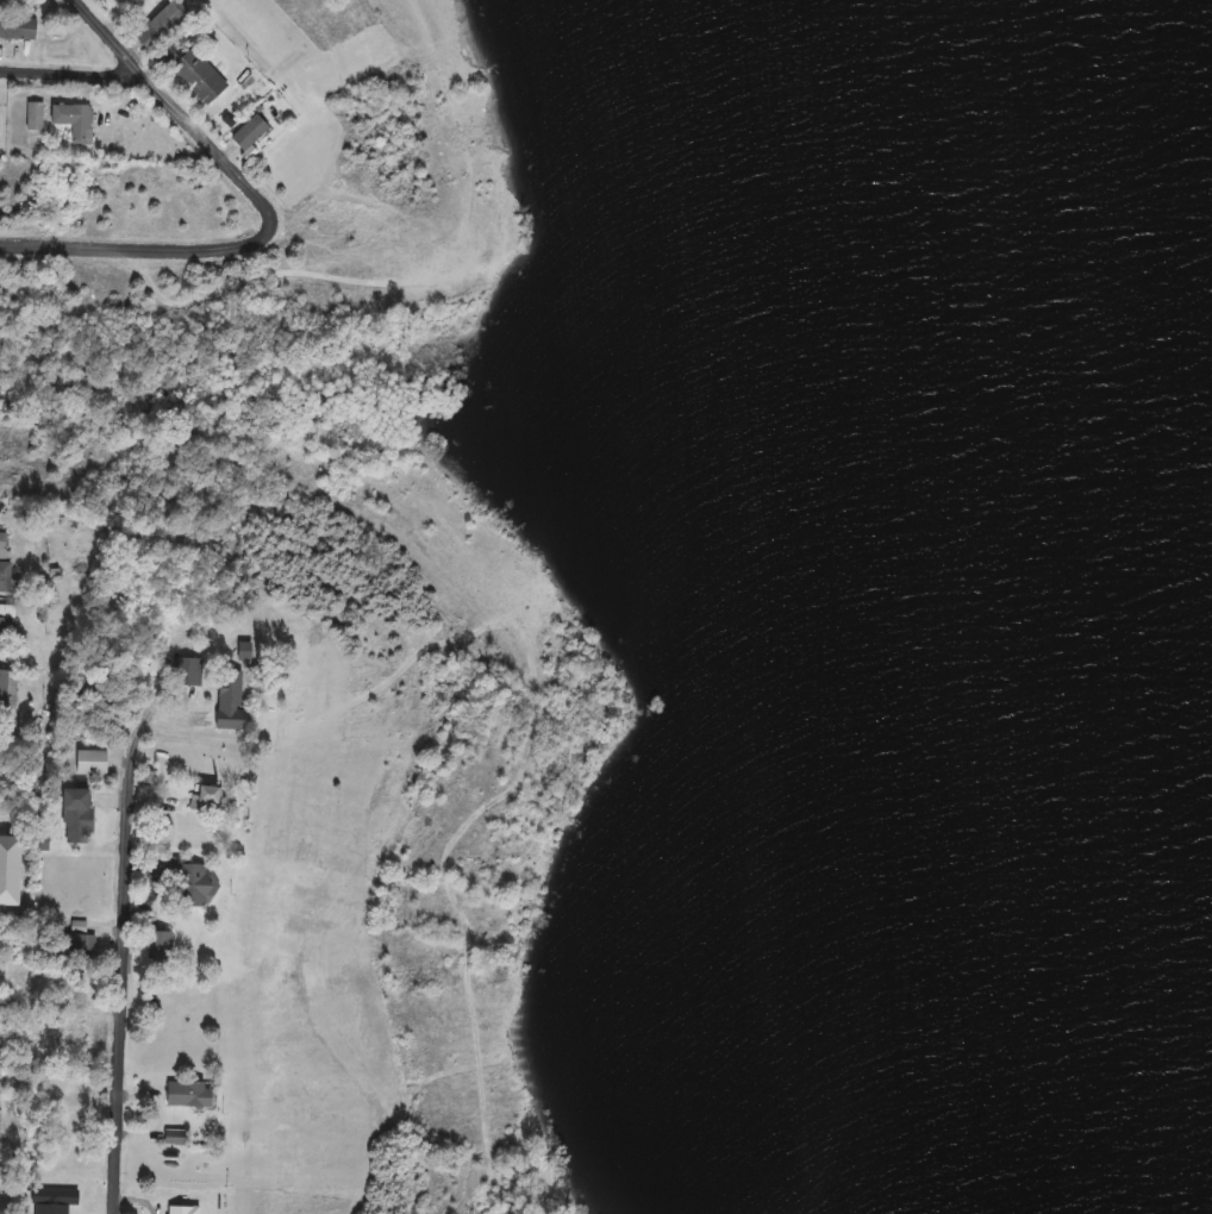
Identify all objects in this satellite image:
building: (163, 25)
building: (18, 26)
building: (189, 68)
road: (73, 77)
road: (176, 108)
building: (35, 115)
building: (75, 120)
building: (251, 132)
road: (140, 246)
road: (2, 509)
building: (5, 561)
building: (5, 631)
building: (230, 687)
building: (4, 688)
building: (210, 722)
building: (210, 799)
building: (77, 815)
road: (123, 868)
building: (187, 881)
building: (160, 945)
building: (79, 946)
building: (19, 972)
building: (68, 1035)
building: (190, 1094)
building: (0, 1114)
building: (175, 1137)

